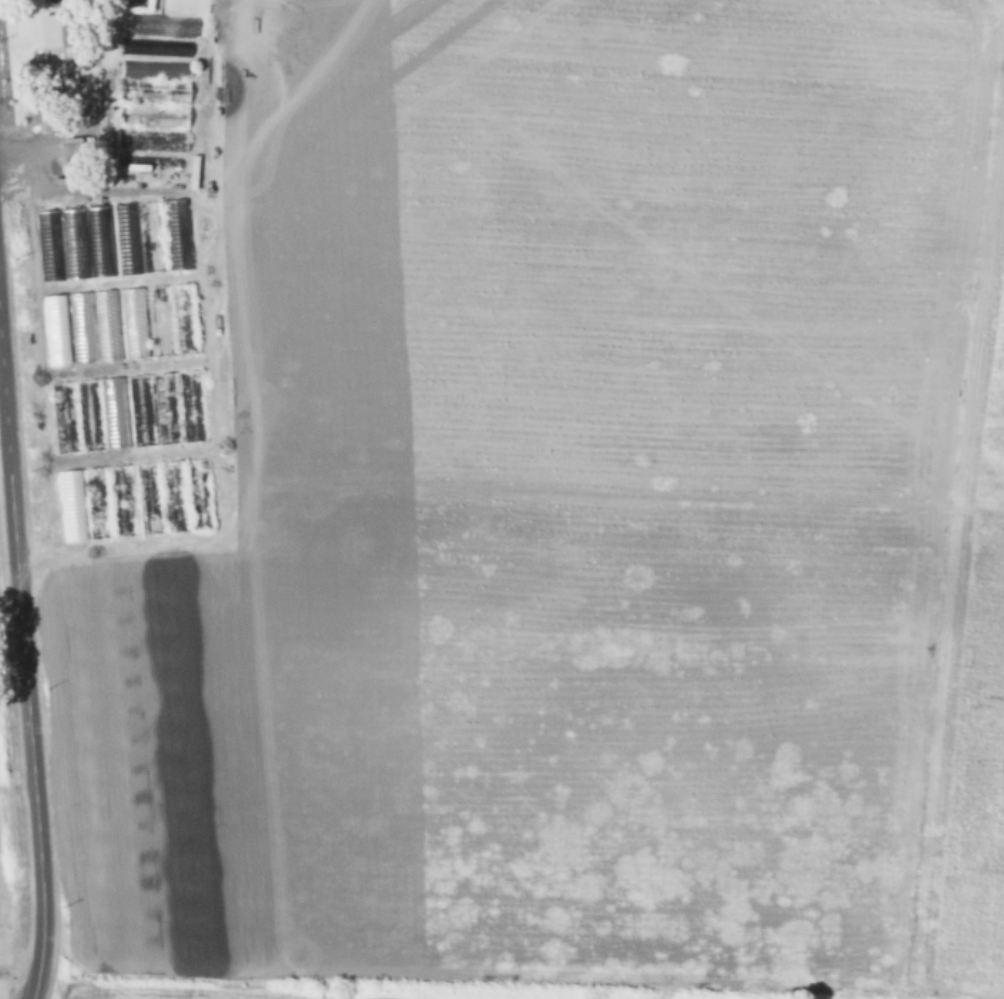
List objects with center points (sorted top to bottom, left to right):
building: (71, 78)
building: (154, 94)
road: (67, 130)
building: (176, 212)
building: (104, 243)
building: (76, 244)
building: (49, 245)
building: (147, 321)
building: (107, 326)
building: (67, 329)
building: (128, 412)
building: (177, 466)
crop: (522, 493)
building: (111, 502)
road: (25, 673)
crop: (6, 886)

